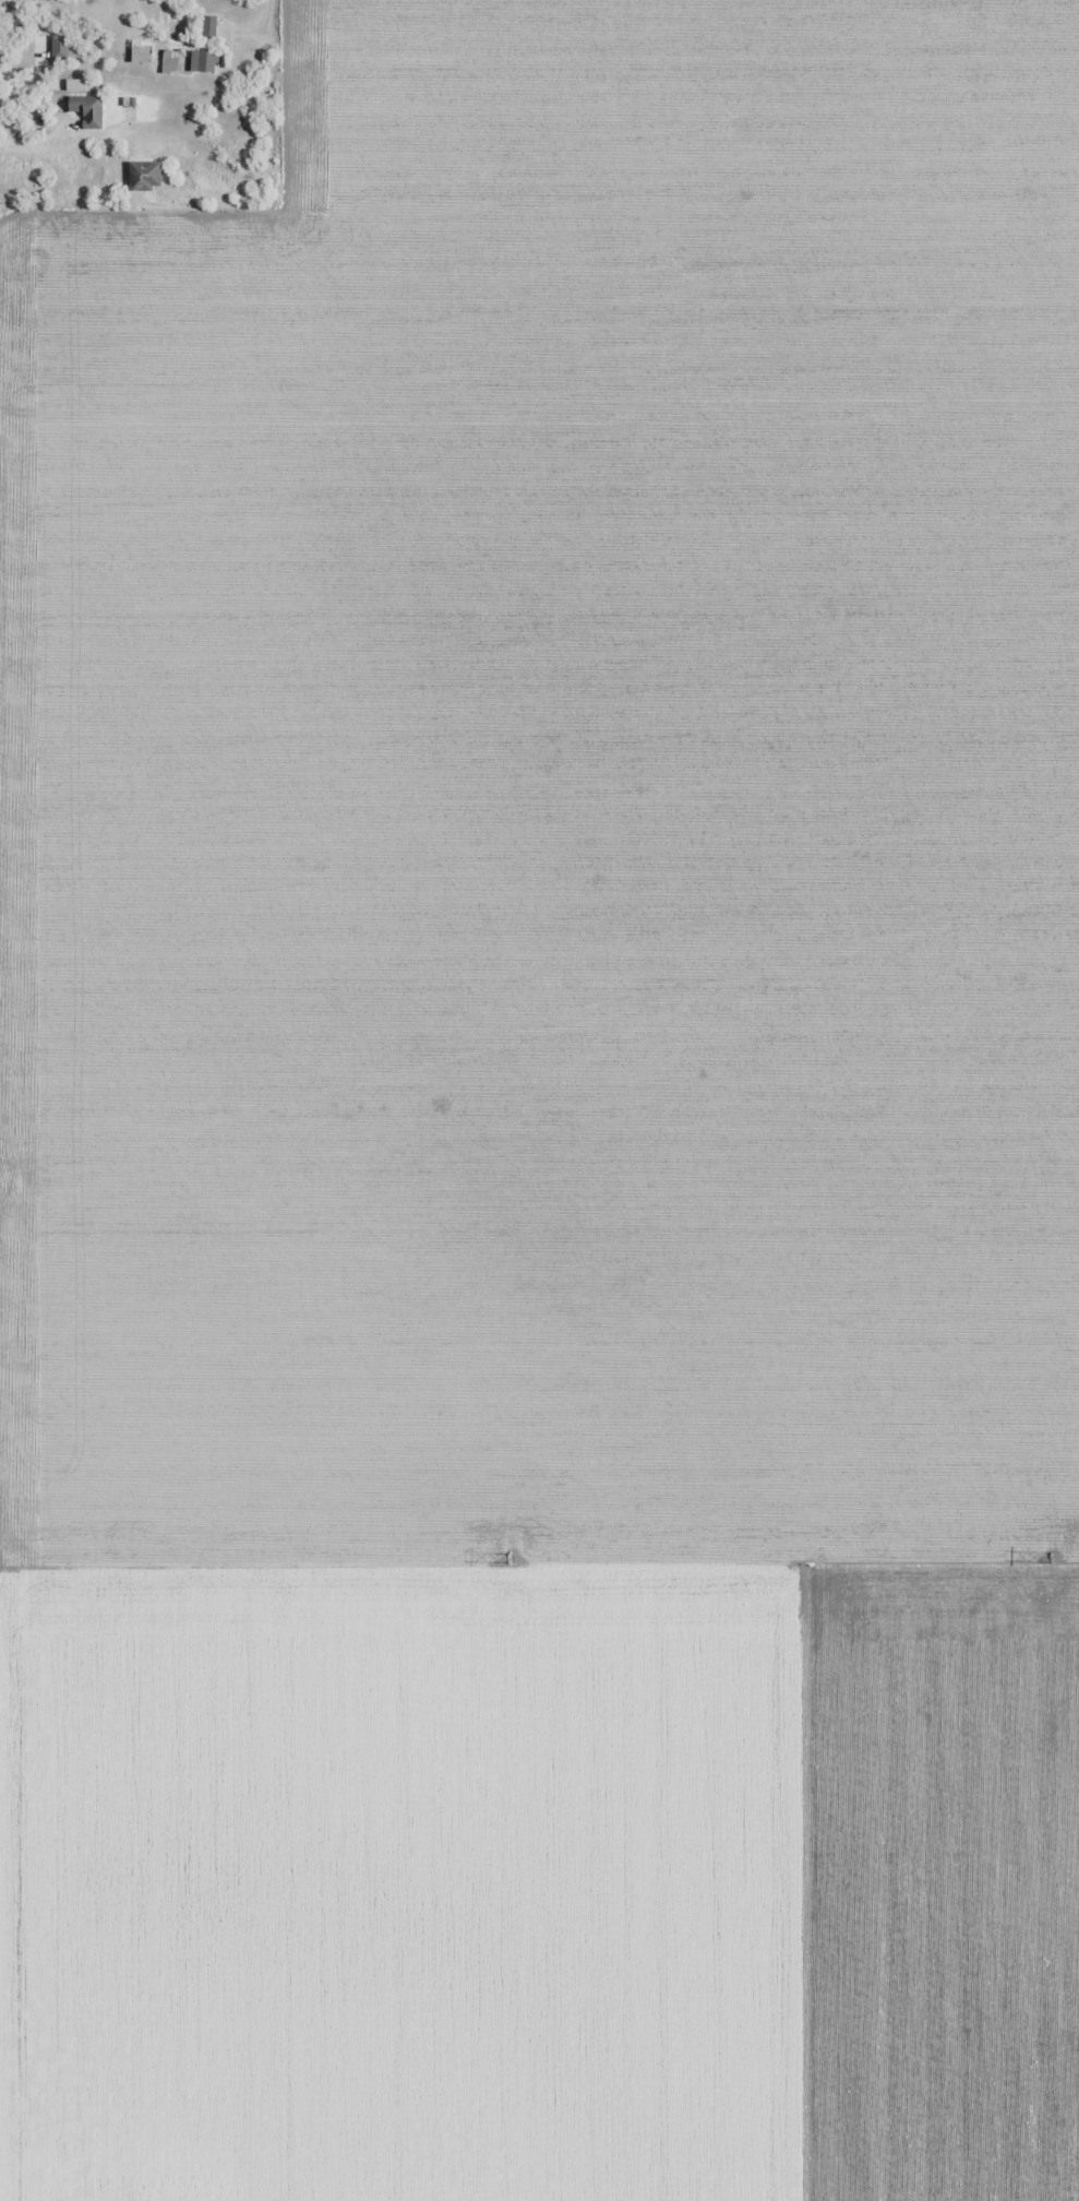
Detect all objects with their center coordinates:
building: (209, 26)
building: (60, 48)
building: (141, 55)
building: (169, 62)
building: (204, 62)
building: (87, 110)
building: (145, 177)
power tower: (508, 1557)
power tower: (1051, 1557)

